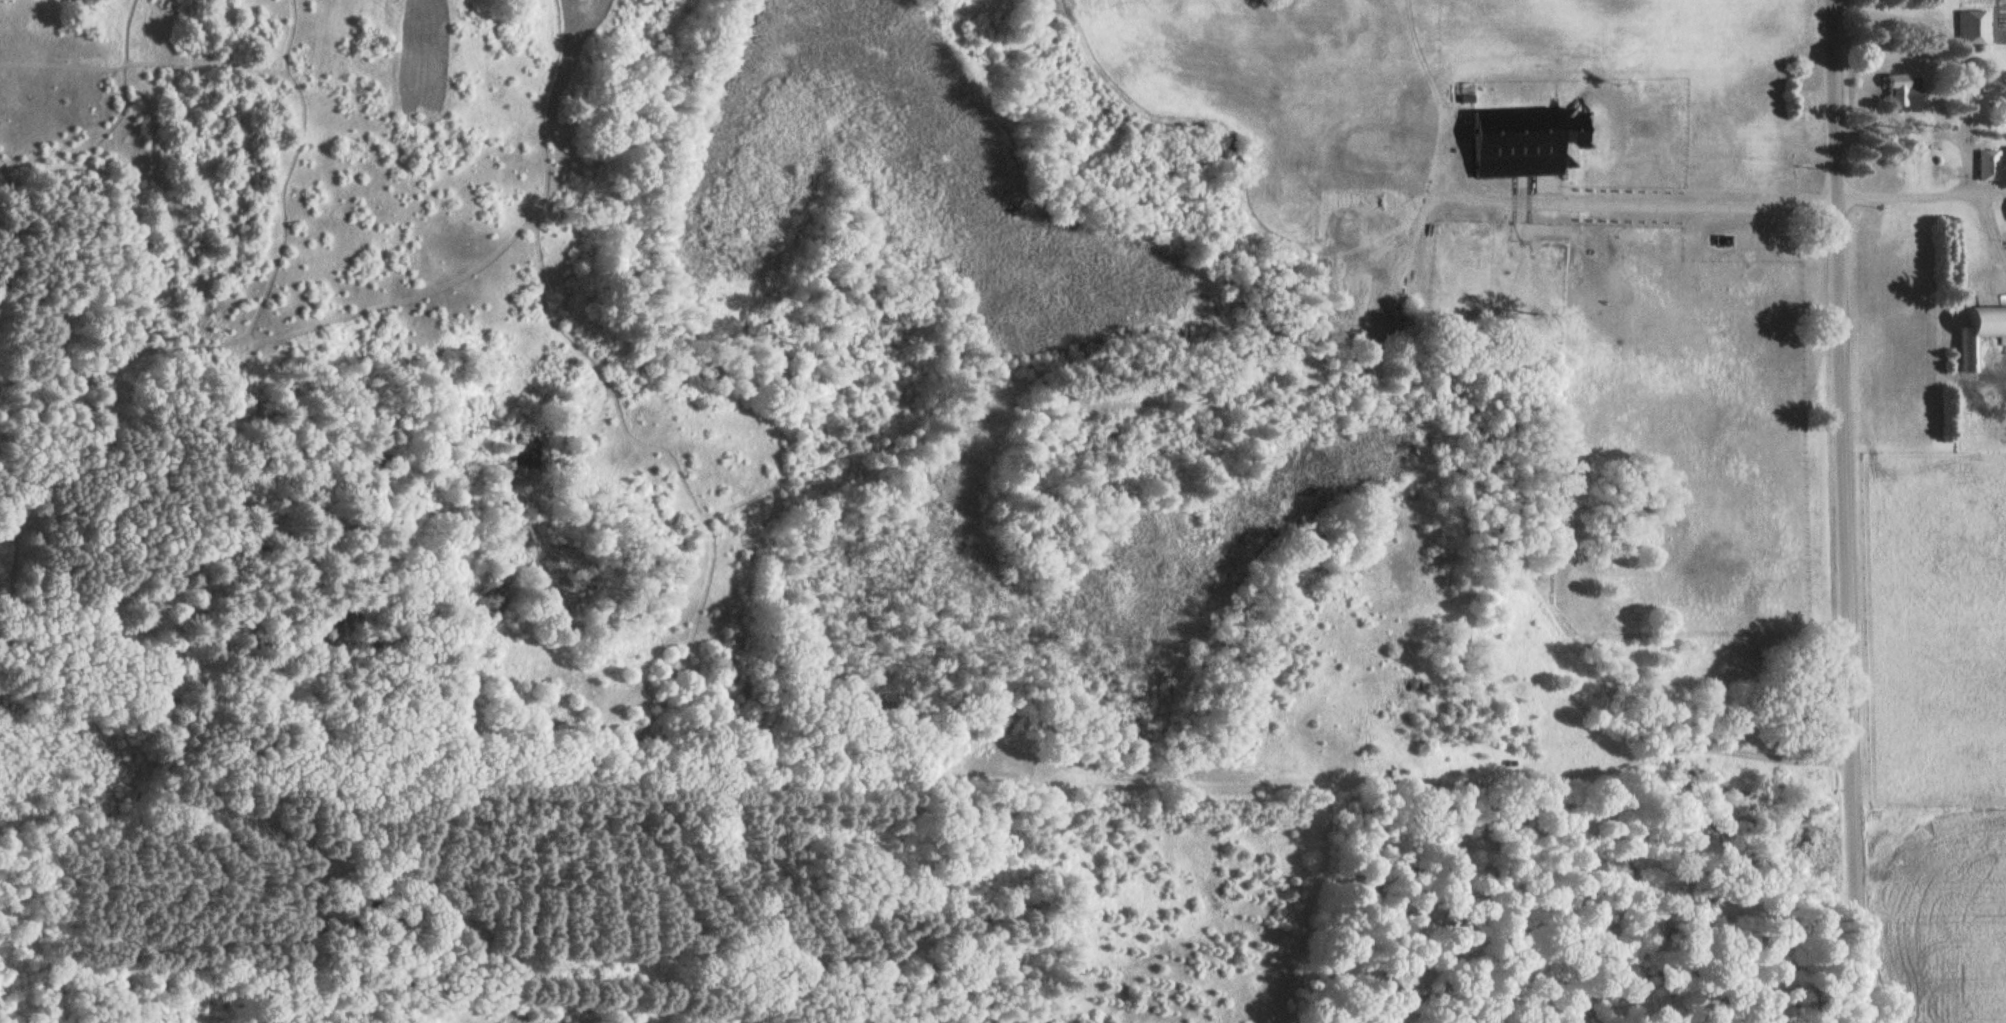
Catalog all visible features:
building: (1980, 28)
building: (1993, 87)
building: (1903, 91)
building: (1990, 165)
road: (1921, 192)
building: (1723, 241)
building: (1980, 333)
road: (1846, 511)
road: (1434, 796)

